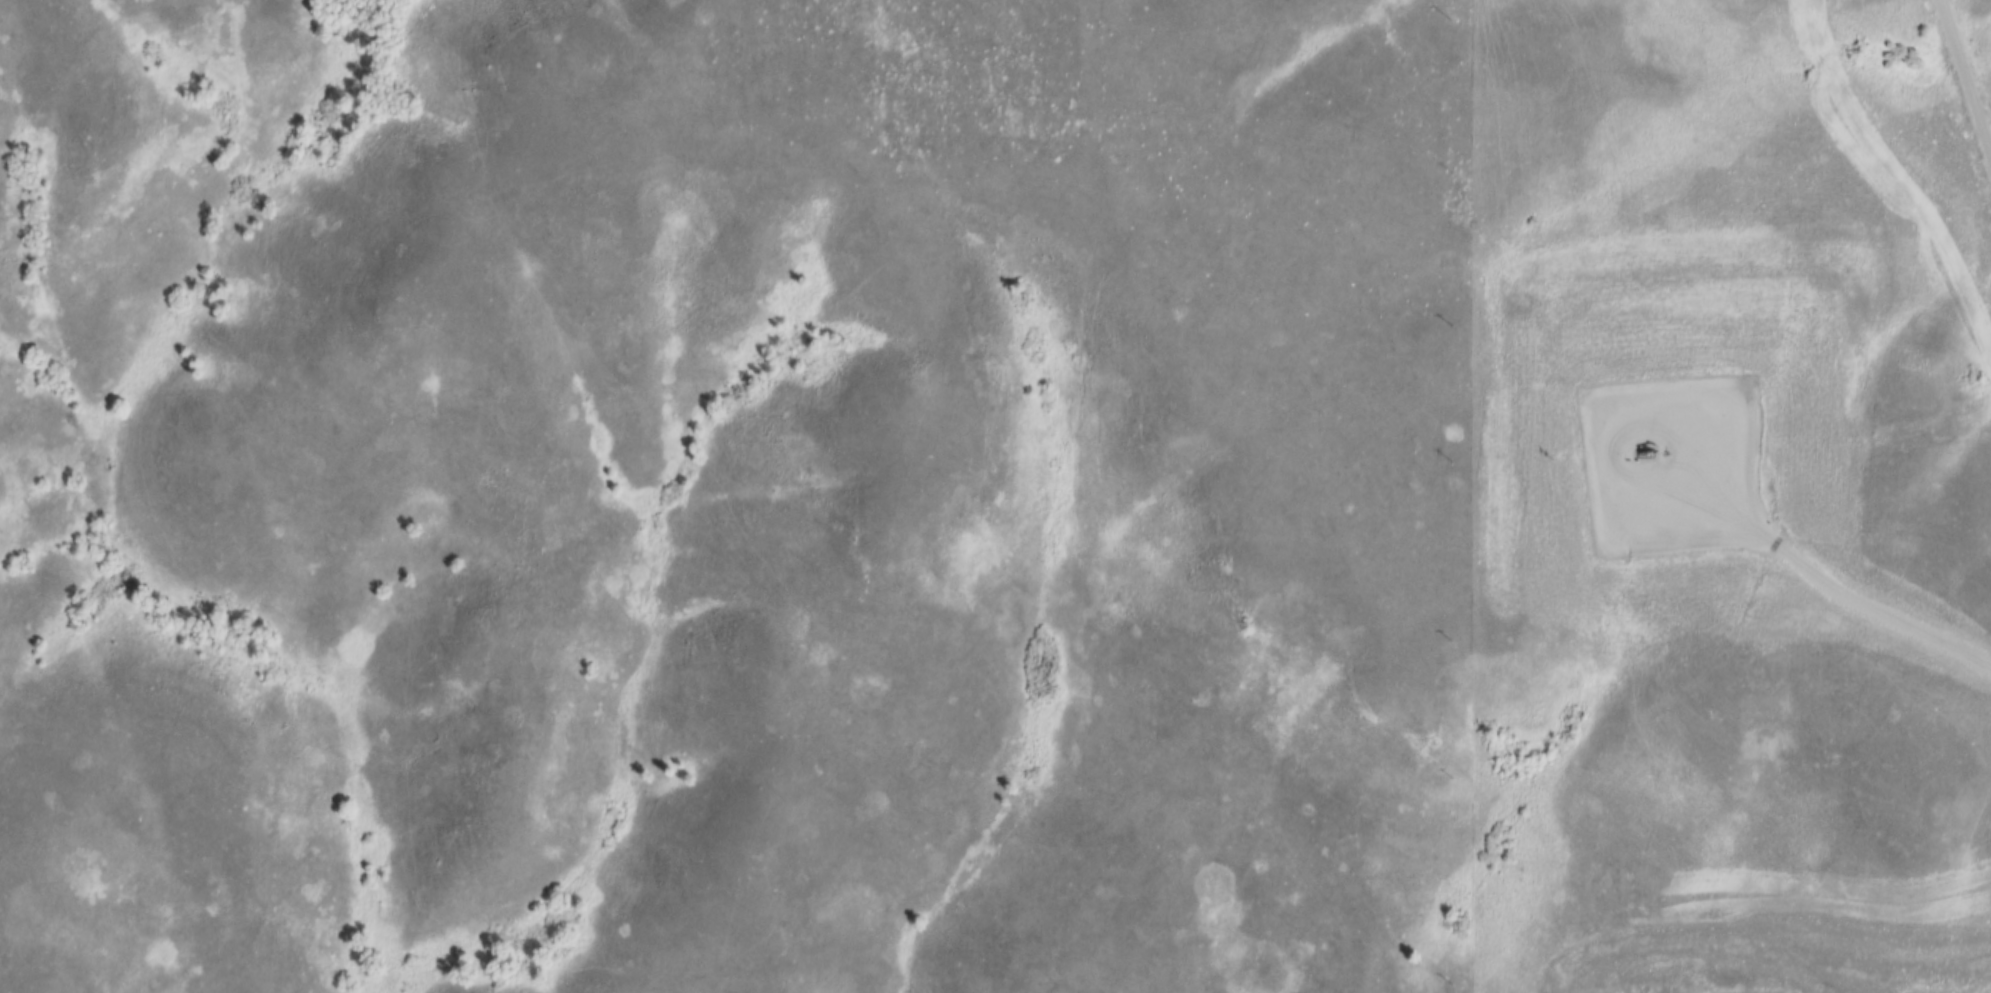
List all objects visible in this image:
road: (1968, 70)
petroleum well: (1643, 447)

